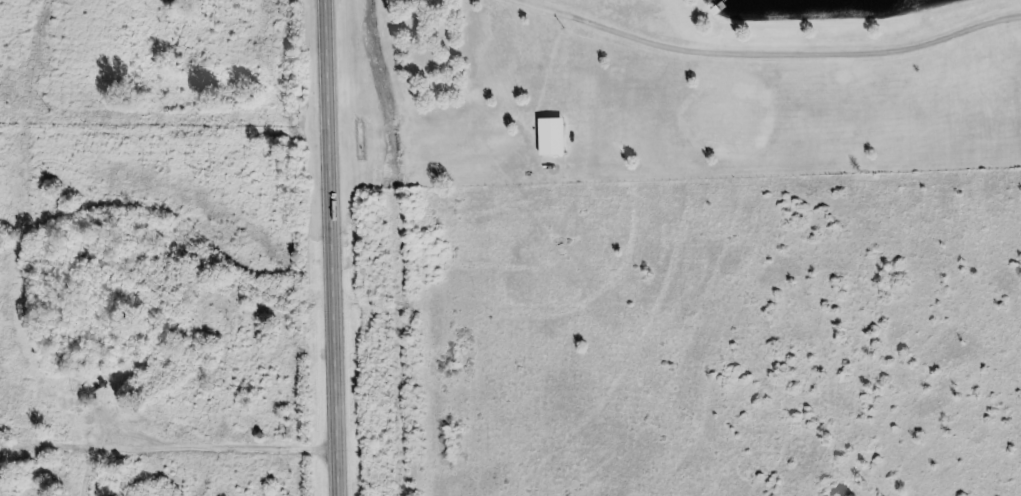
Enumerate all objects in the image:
road: (761, 49)
road: (336, 247)
road: (219, 448)

